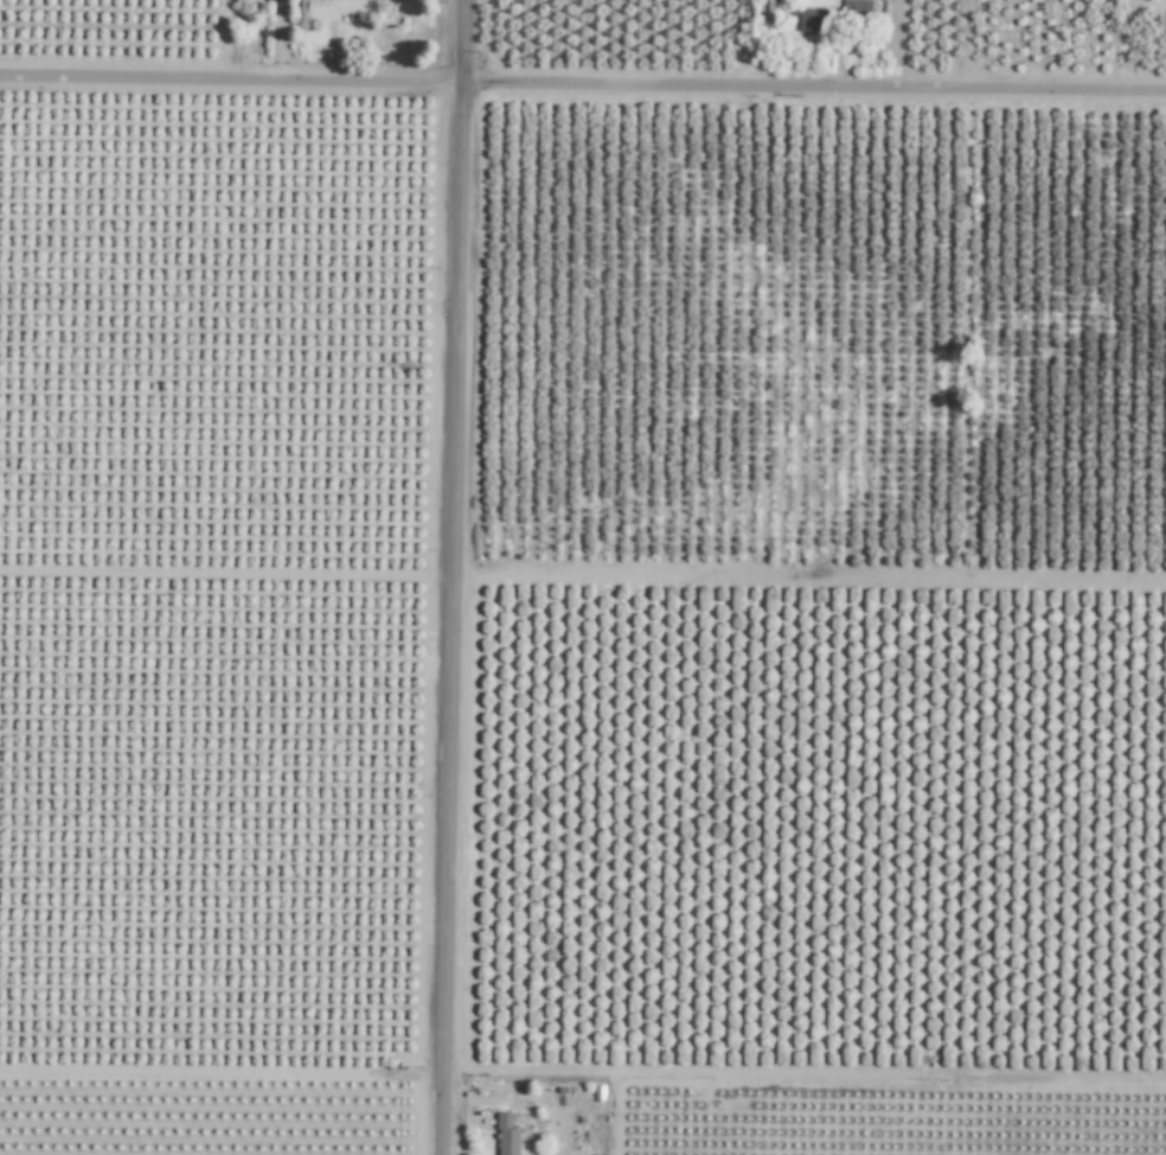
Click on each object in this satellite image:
building: (334, 8)
building: (771, 12)
building: (834, 14)
road: (582, 84)
road: (451, 576)
building: (507, 1135)

